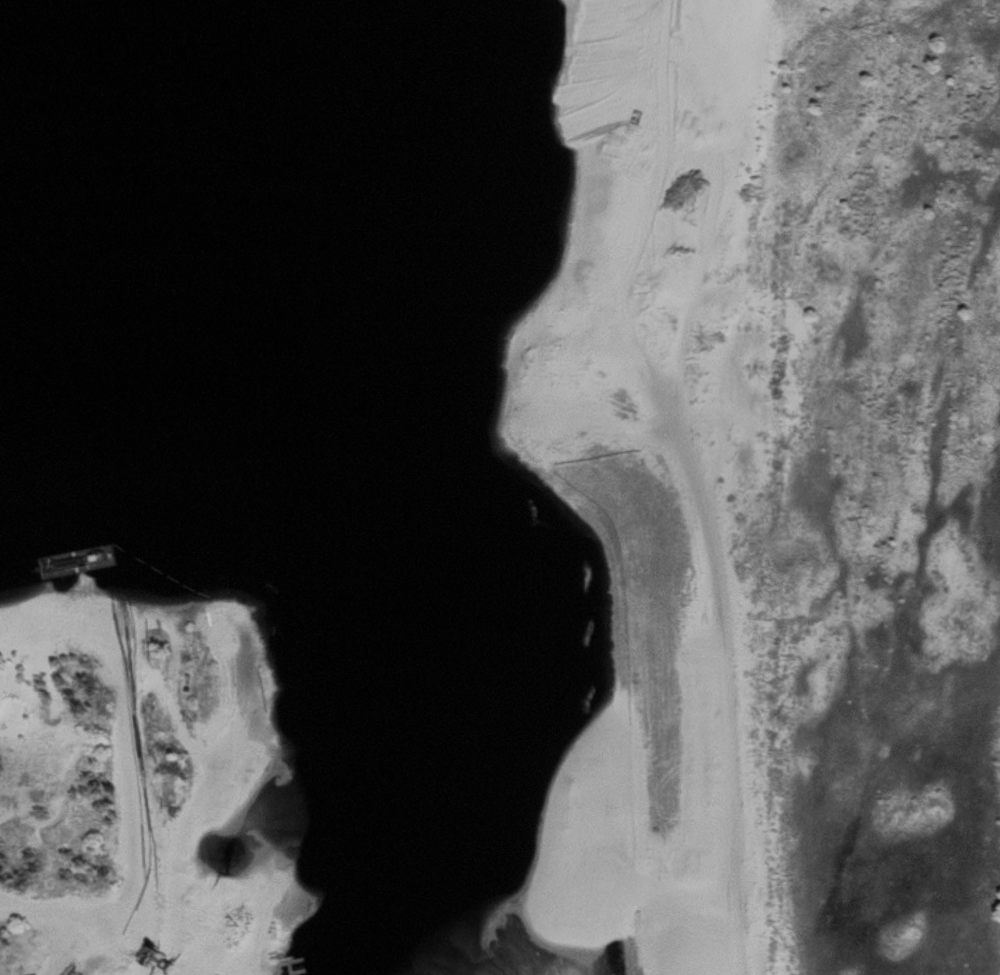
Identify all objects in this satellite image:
park: (500, 487)

